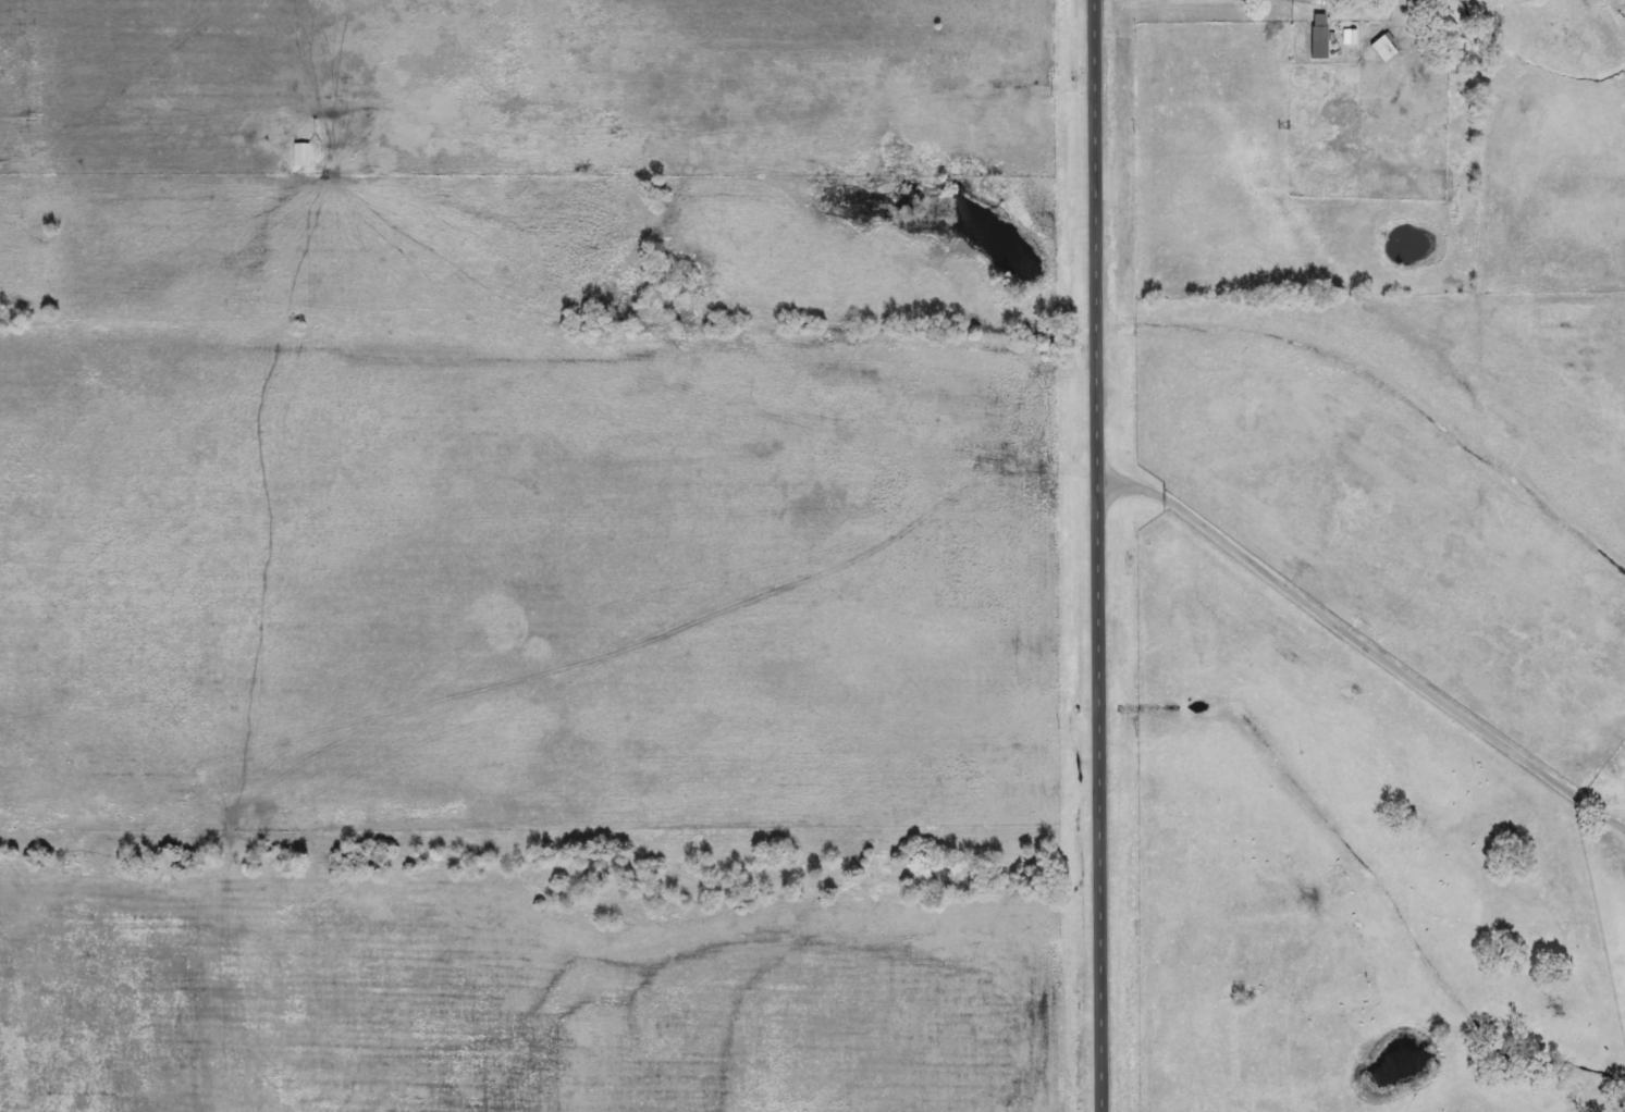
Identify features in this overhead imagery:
road: (1245, 2)
building: (1321, 36)
building: (303, 155)
road: (1098, 555)
road: (1366, 644)

